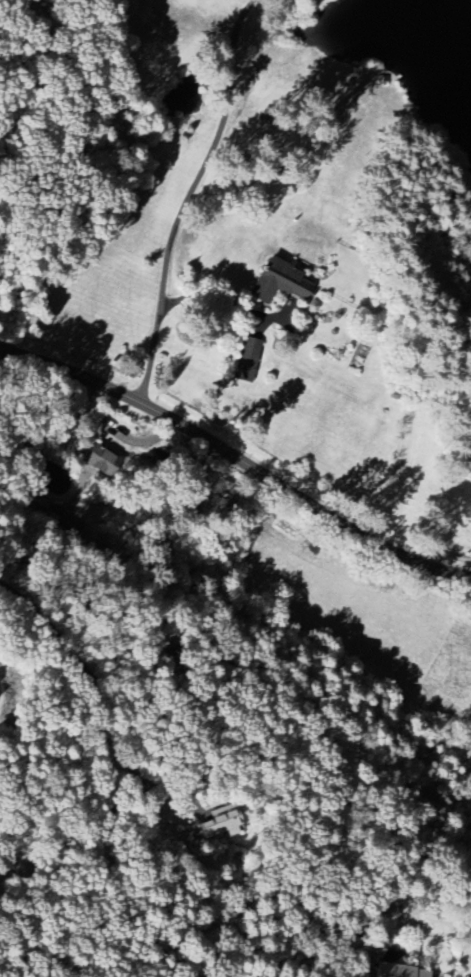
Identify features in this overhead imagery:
road: (142, 14)
road: (187, 197)
building: (278, 281)
road: (211, 298)
building: (247, 361)
road: (238, 458)
building: (98, 460)
road: (453, 690)
road: (125, 781)
building: (221, 823)
building: (399, 971)

